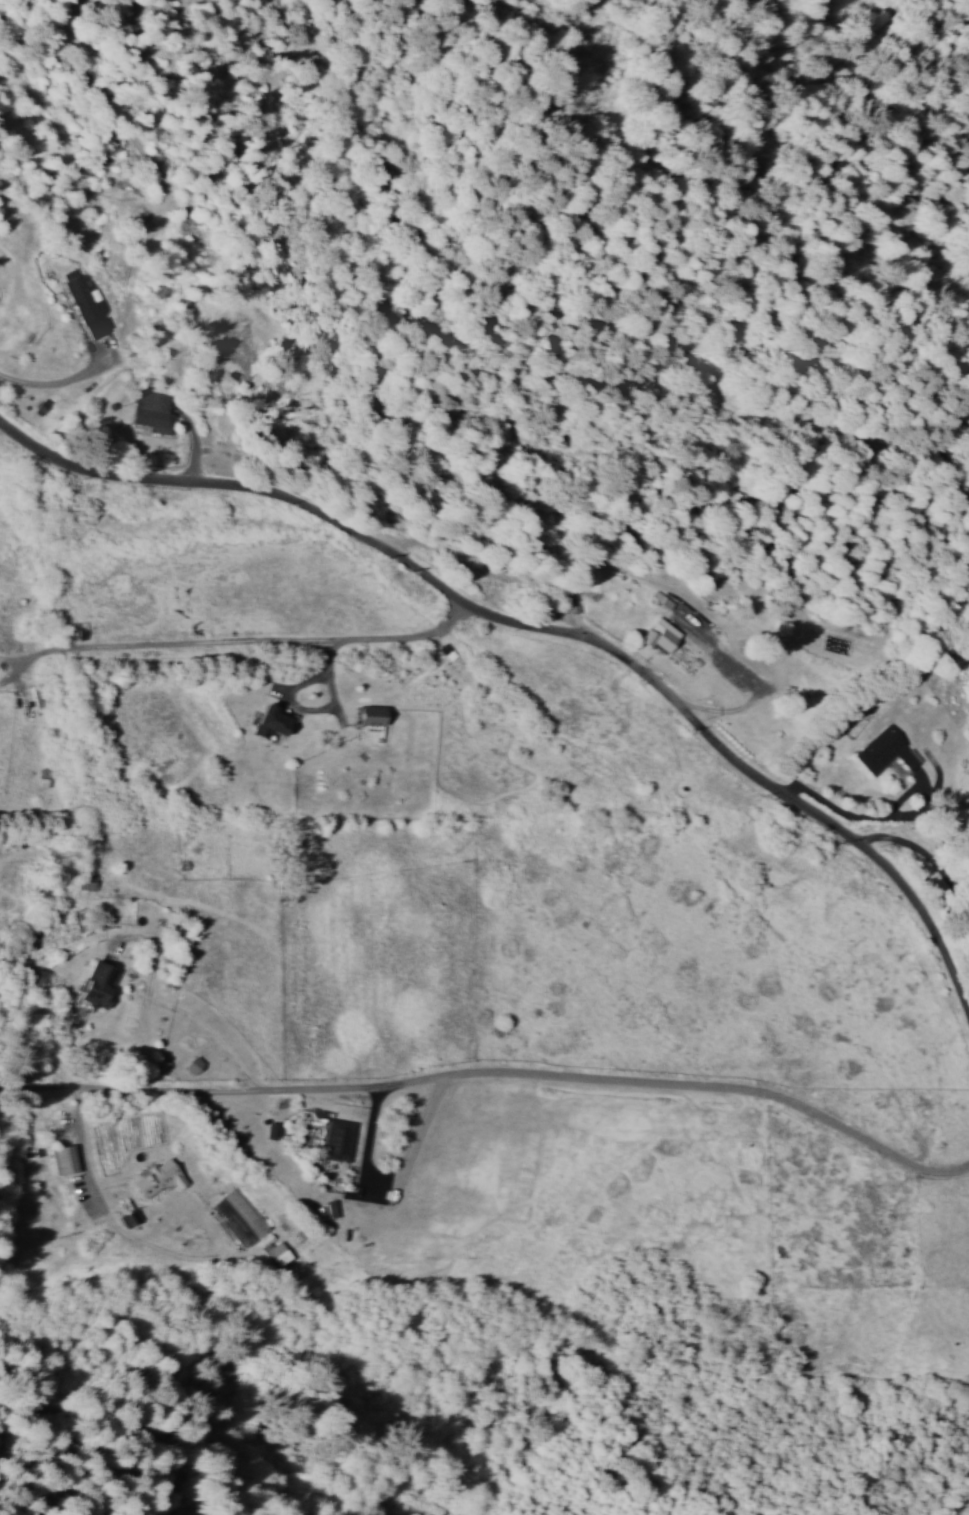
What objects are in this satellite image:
building: (88, 302)
building: (155, 410)
road: (536, 632)
building: (656, 633)
building: (377, 715)
building: (276, 721)
building: (884, 750)
building: (41, 975)
building: (101, 984)
building: (196, 1063)
building: (161, 1064)
road: (492, 1074)
building: (341, 1139)
building: (69, 1158)
building: (162, 1177)
building: (246, 1211)
building: (234, 1222)
building: (280, 1252)

